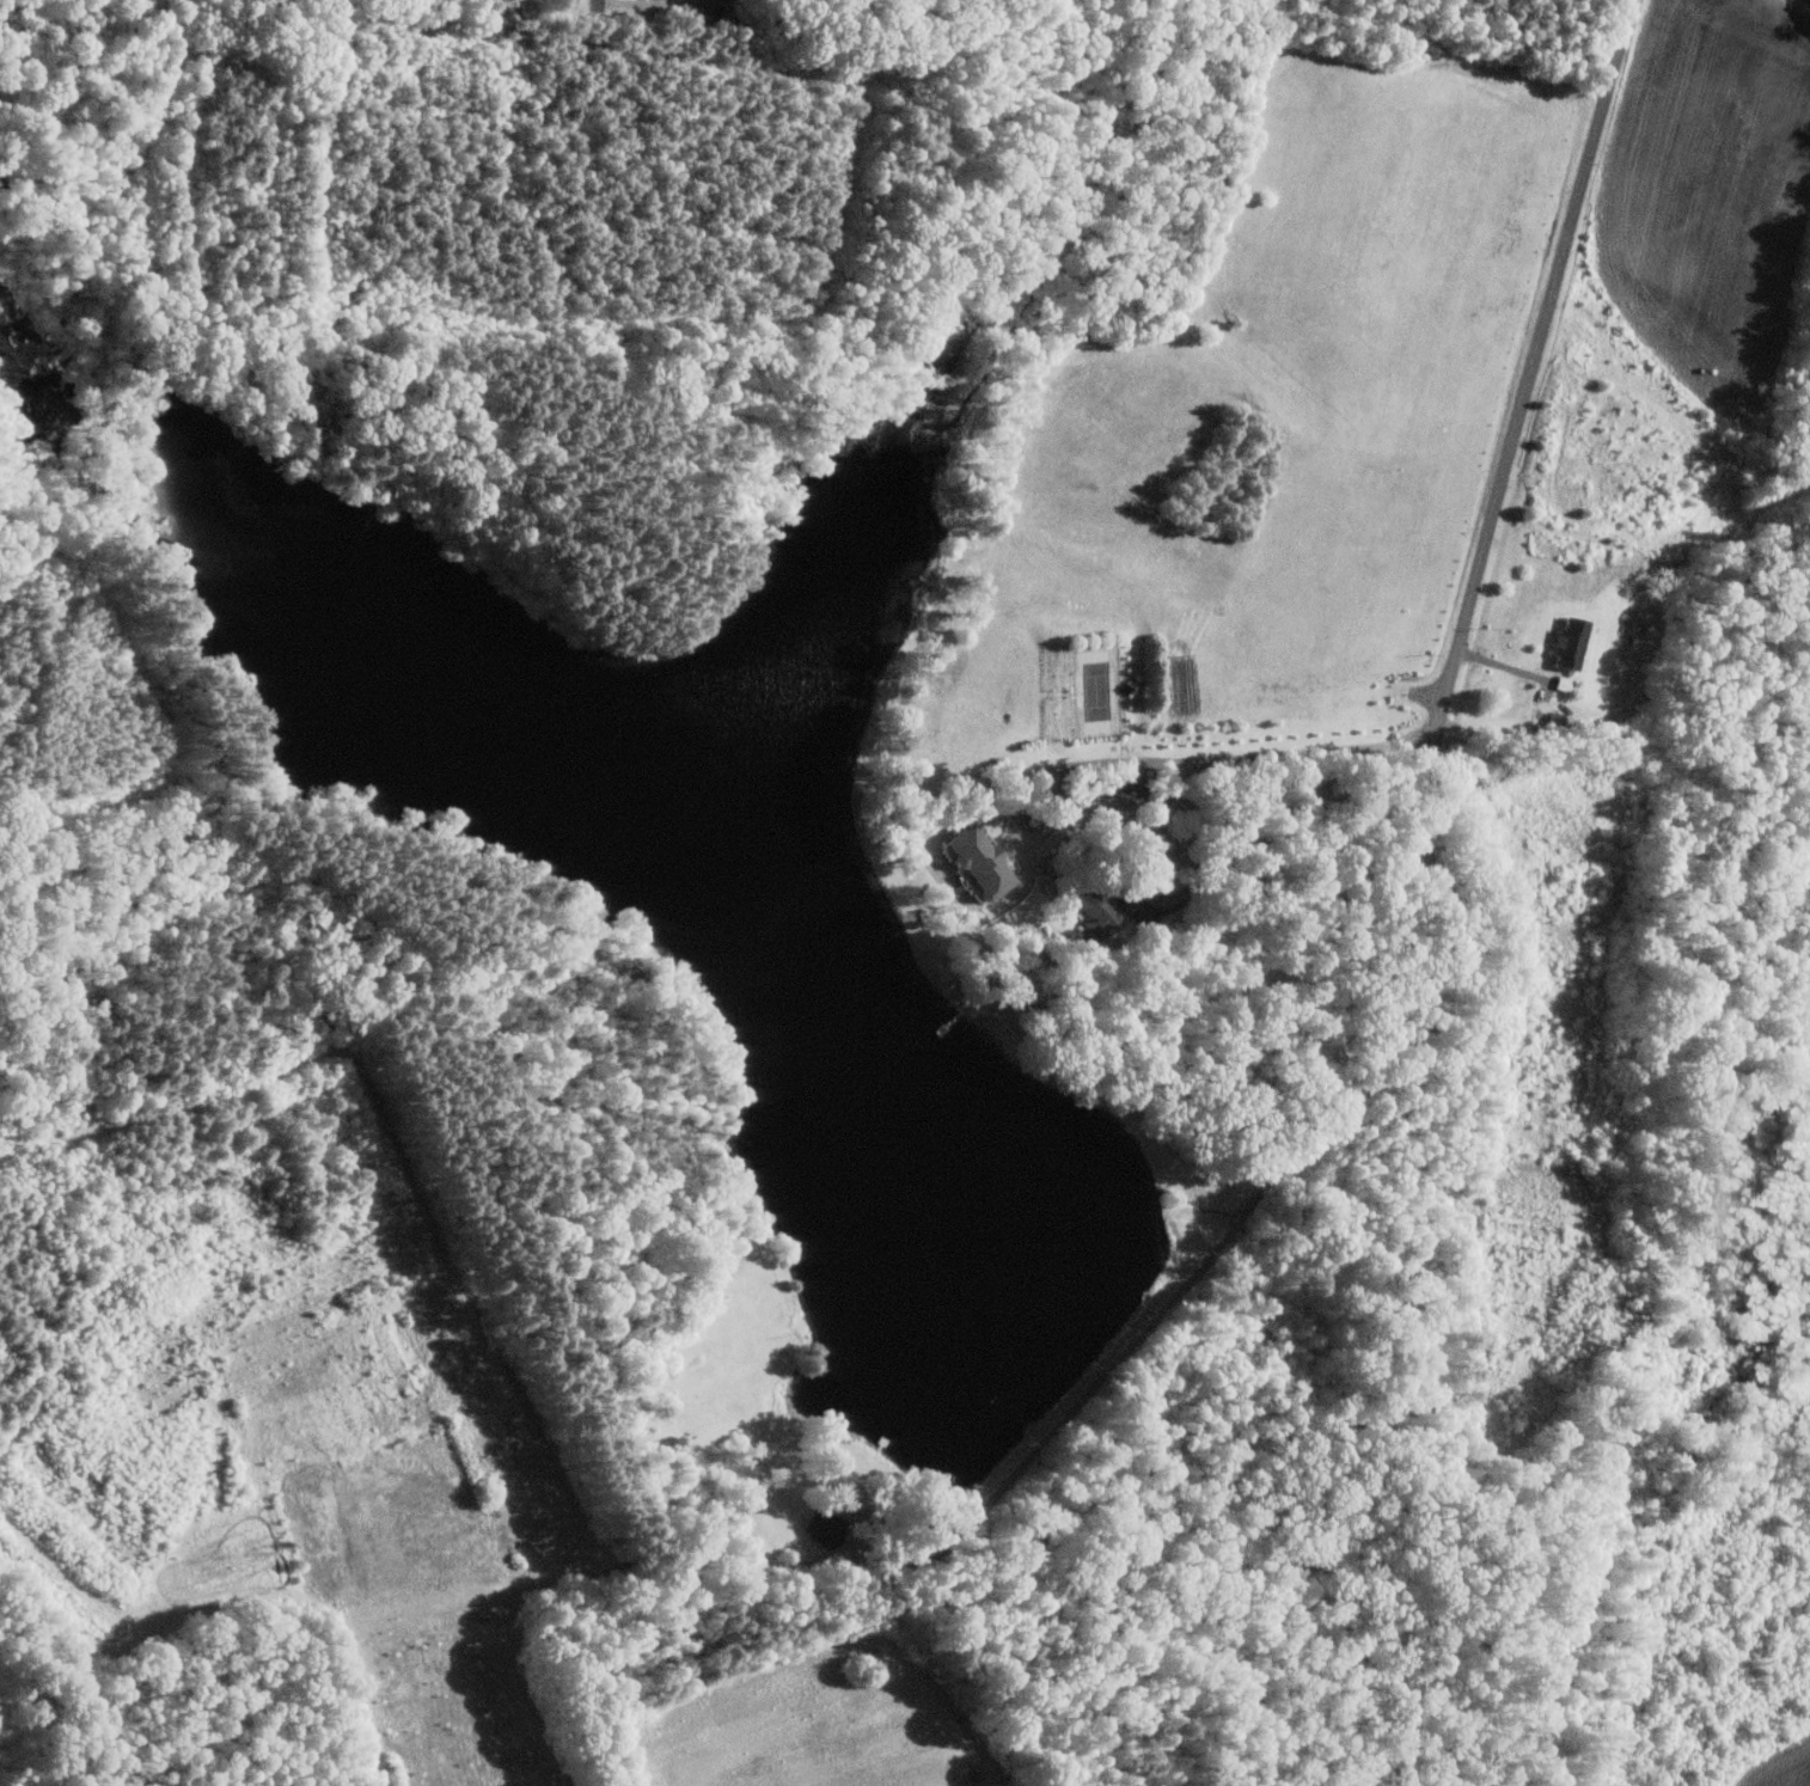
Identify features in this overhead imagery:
road: (597, 4)
building: (703, 11)
road: (1613, 66)
road: (1487, 542)
building: (1574, 641)
road: (1016, 813)
road: (1186, 852)
building: (984, 861)
building: (1113, 910)
building: (827, 1527)

